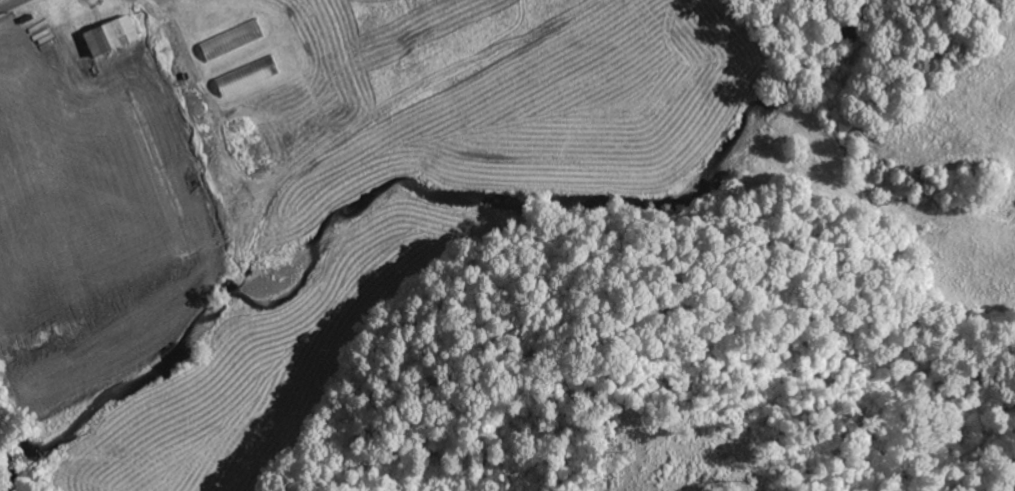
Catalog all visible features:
road: (9, 4)
building: (105, 37)
building: (227, 42)
building: (242, 78)

